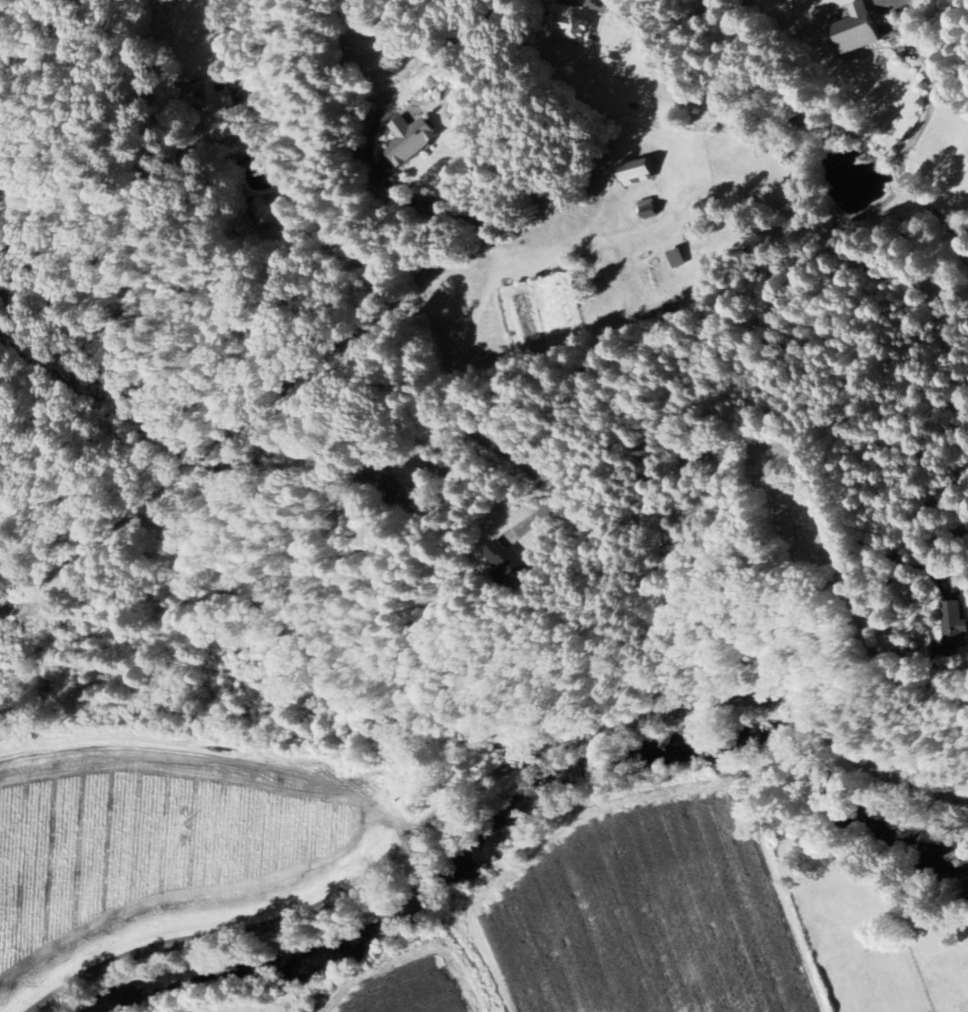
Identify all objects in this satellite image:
building: (569, 23)
building: (857, 30)
road: (920, 130)
building: (409, 140)
building: (633, 172)
road: (494, 193)
road: (405, 197)
building: (646, 210)
road: (457, 425)
park: (797, 505)
road: (200, 508)
road: (102, 535)
road: (8, 559)
building: (508, 564)
building: (954, 624)
river: (748, 760)
road: (486, 778)
river: (471, 863)
river: (271, 956)

